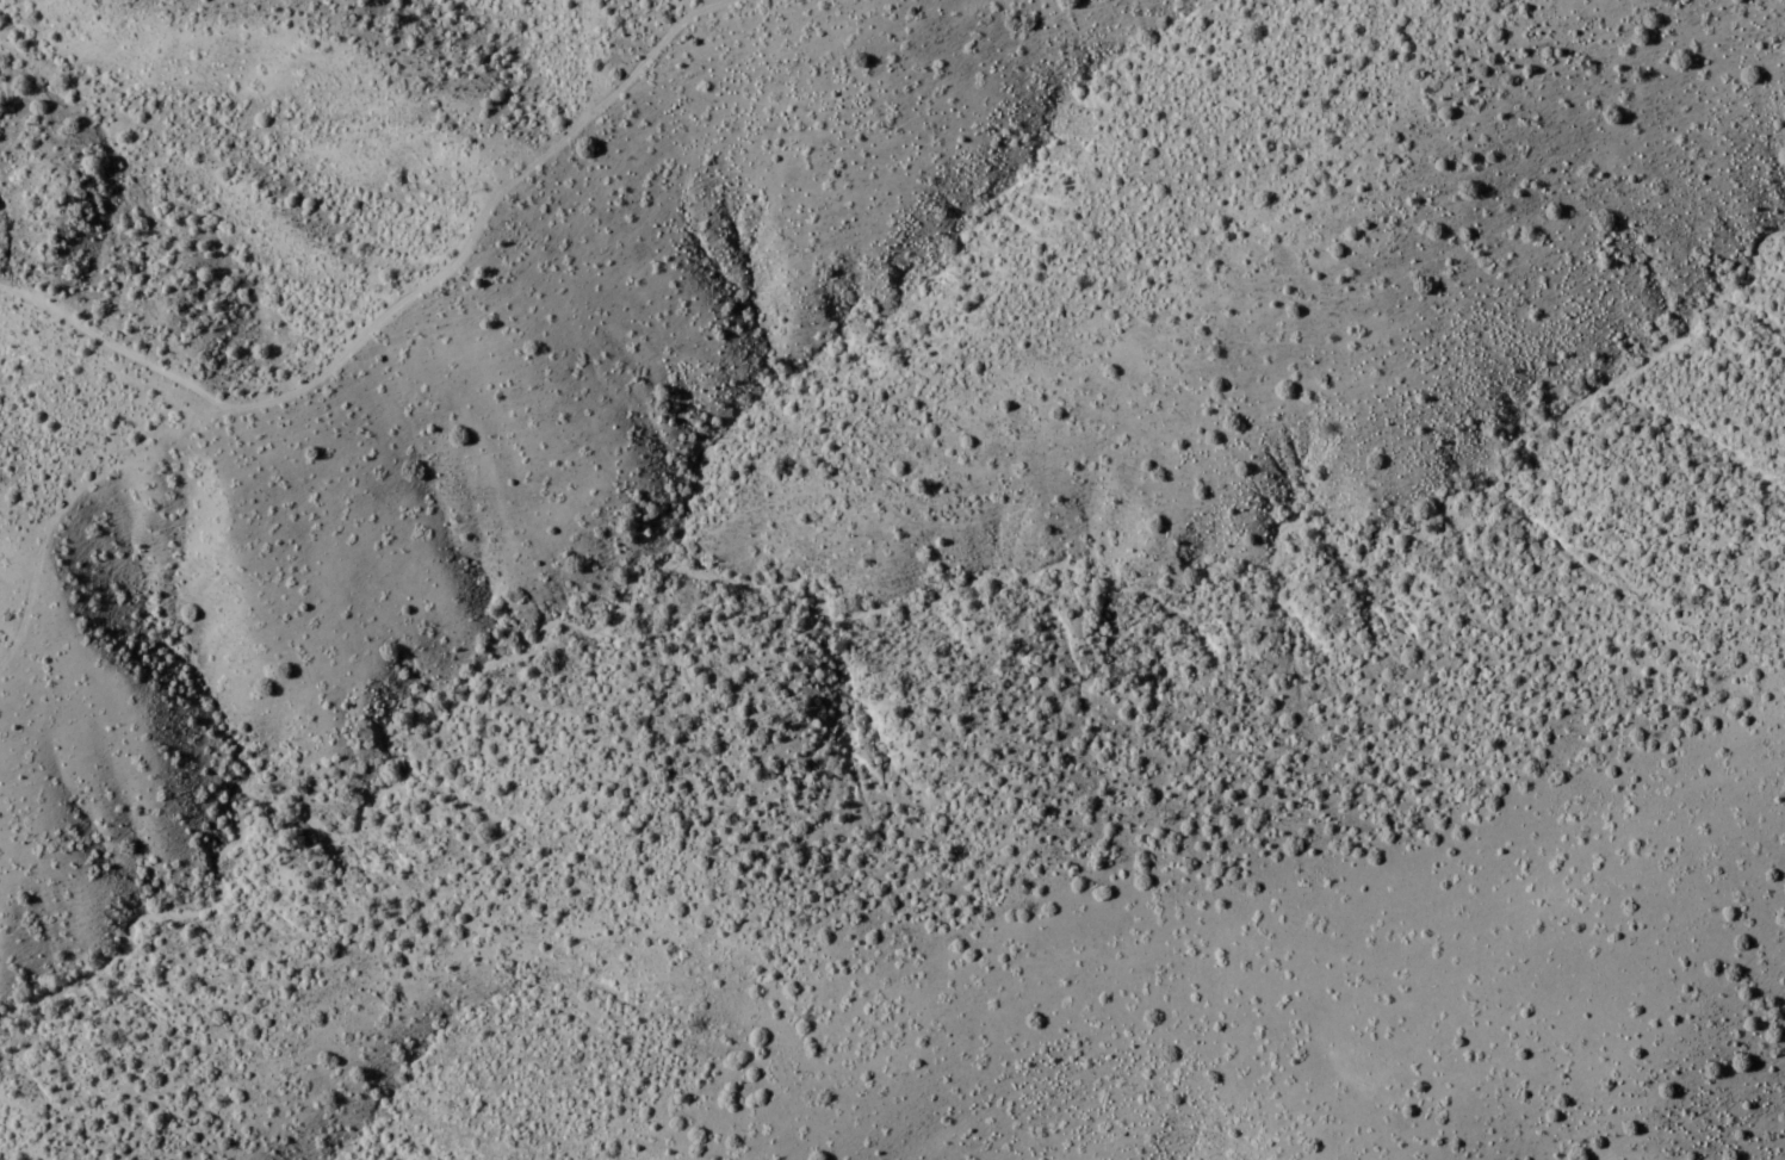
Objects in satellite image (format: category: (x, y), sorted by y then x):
road: (210, 80)
road: (300, 271)

